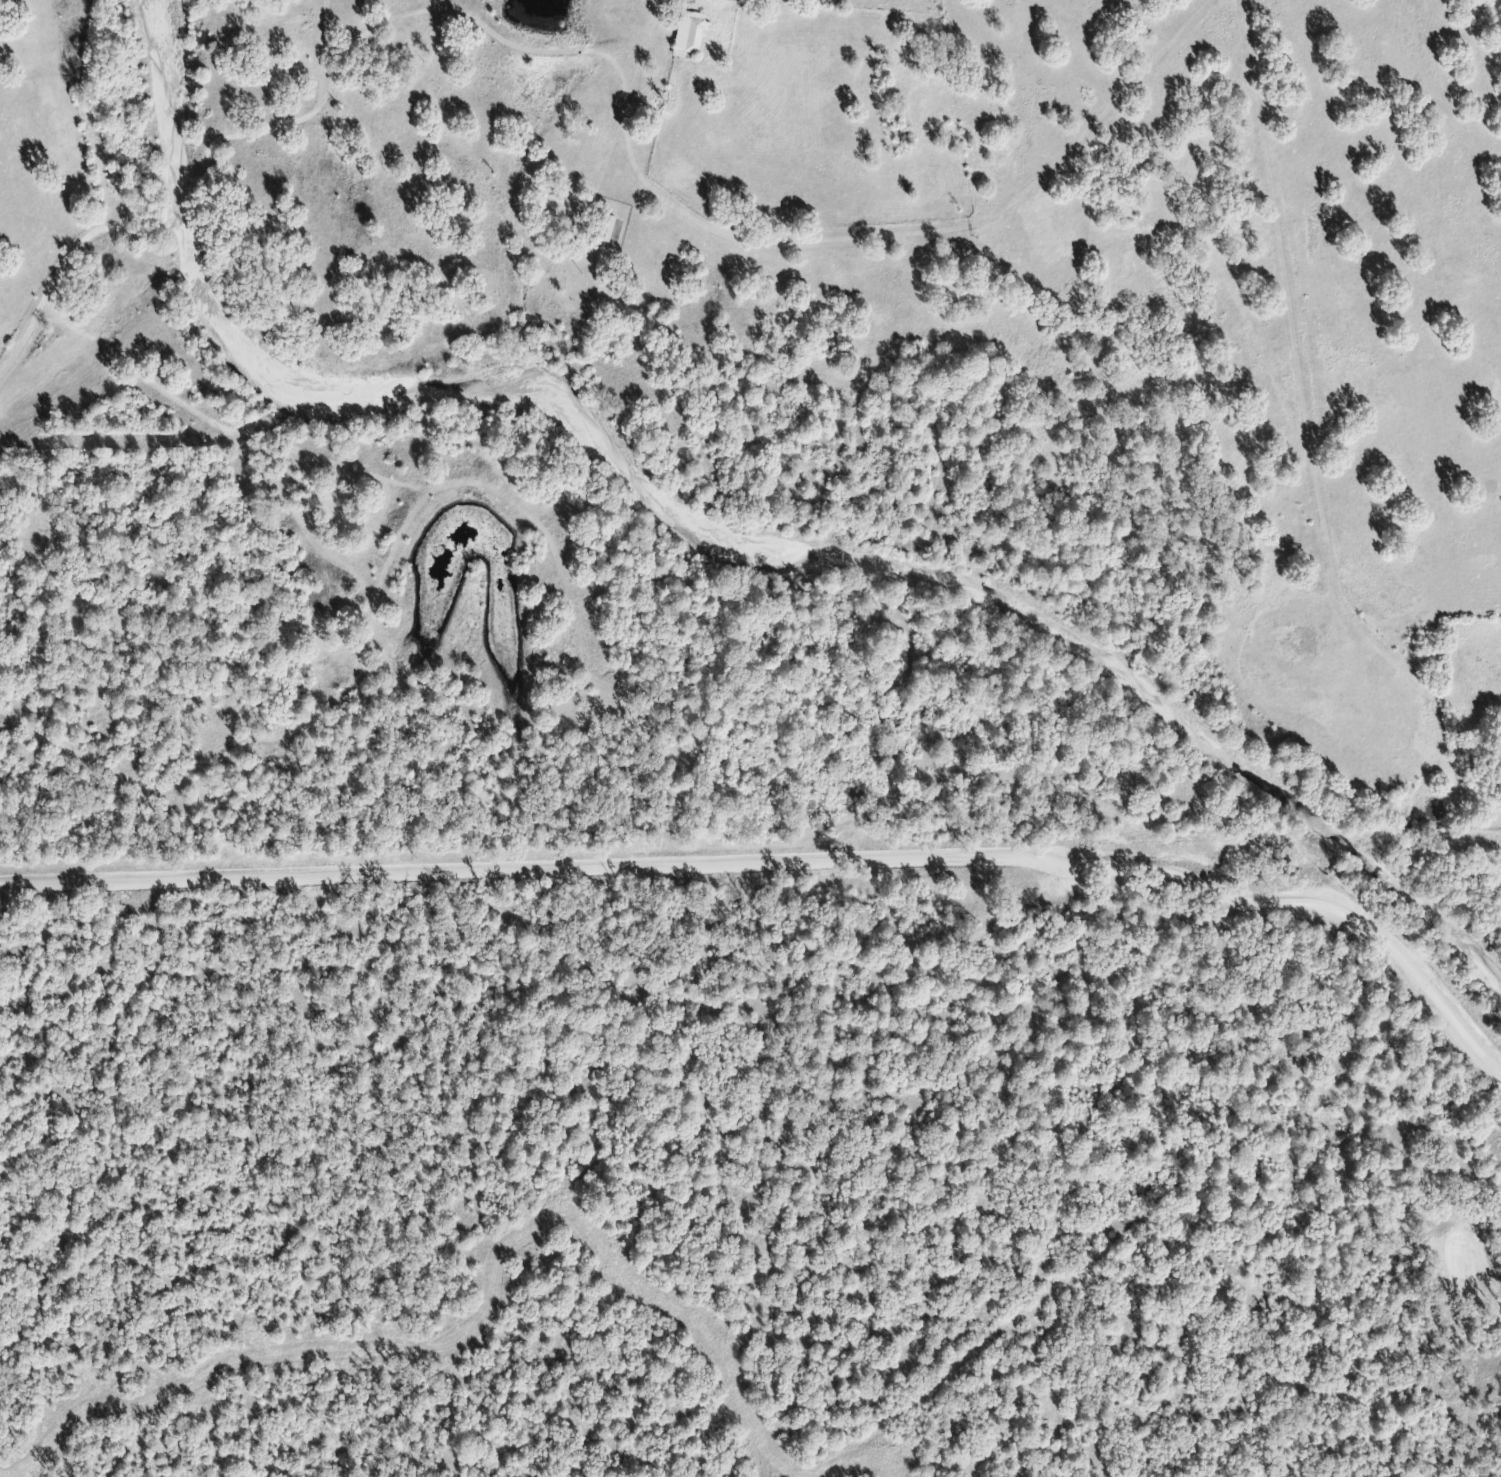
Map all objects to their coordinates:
building: (682, 32)
road: (310, 123)
road: (183, 199)
building: (605, 228)
road: (786, 233)
road: (62, 273)
road: (1303, 398)

